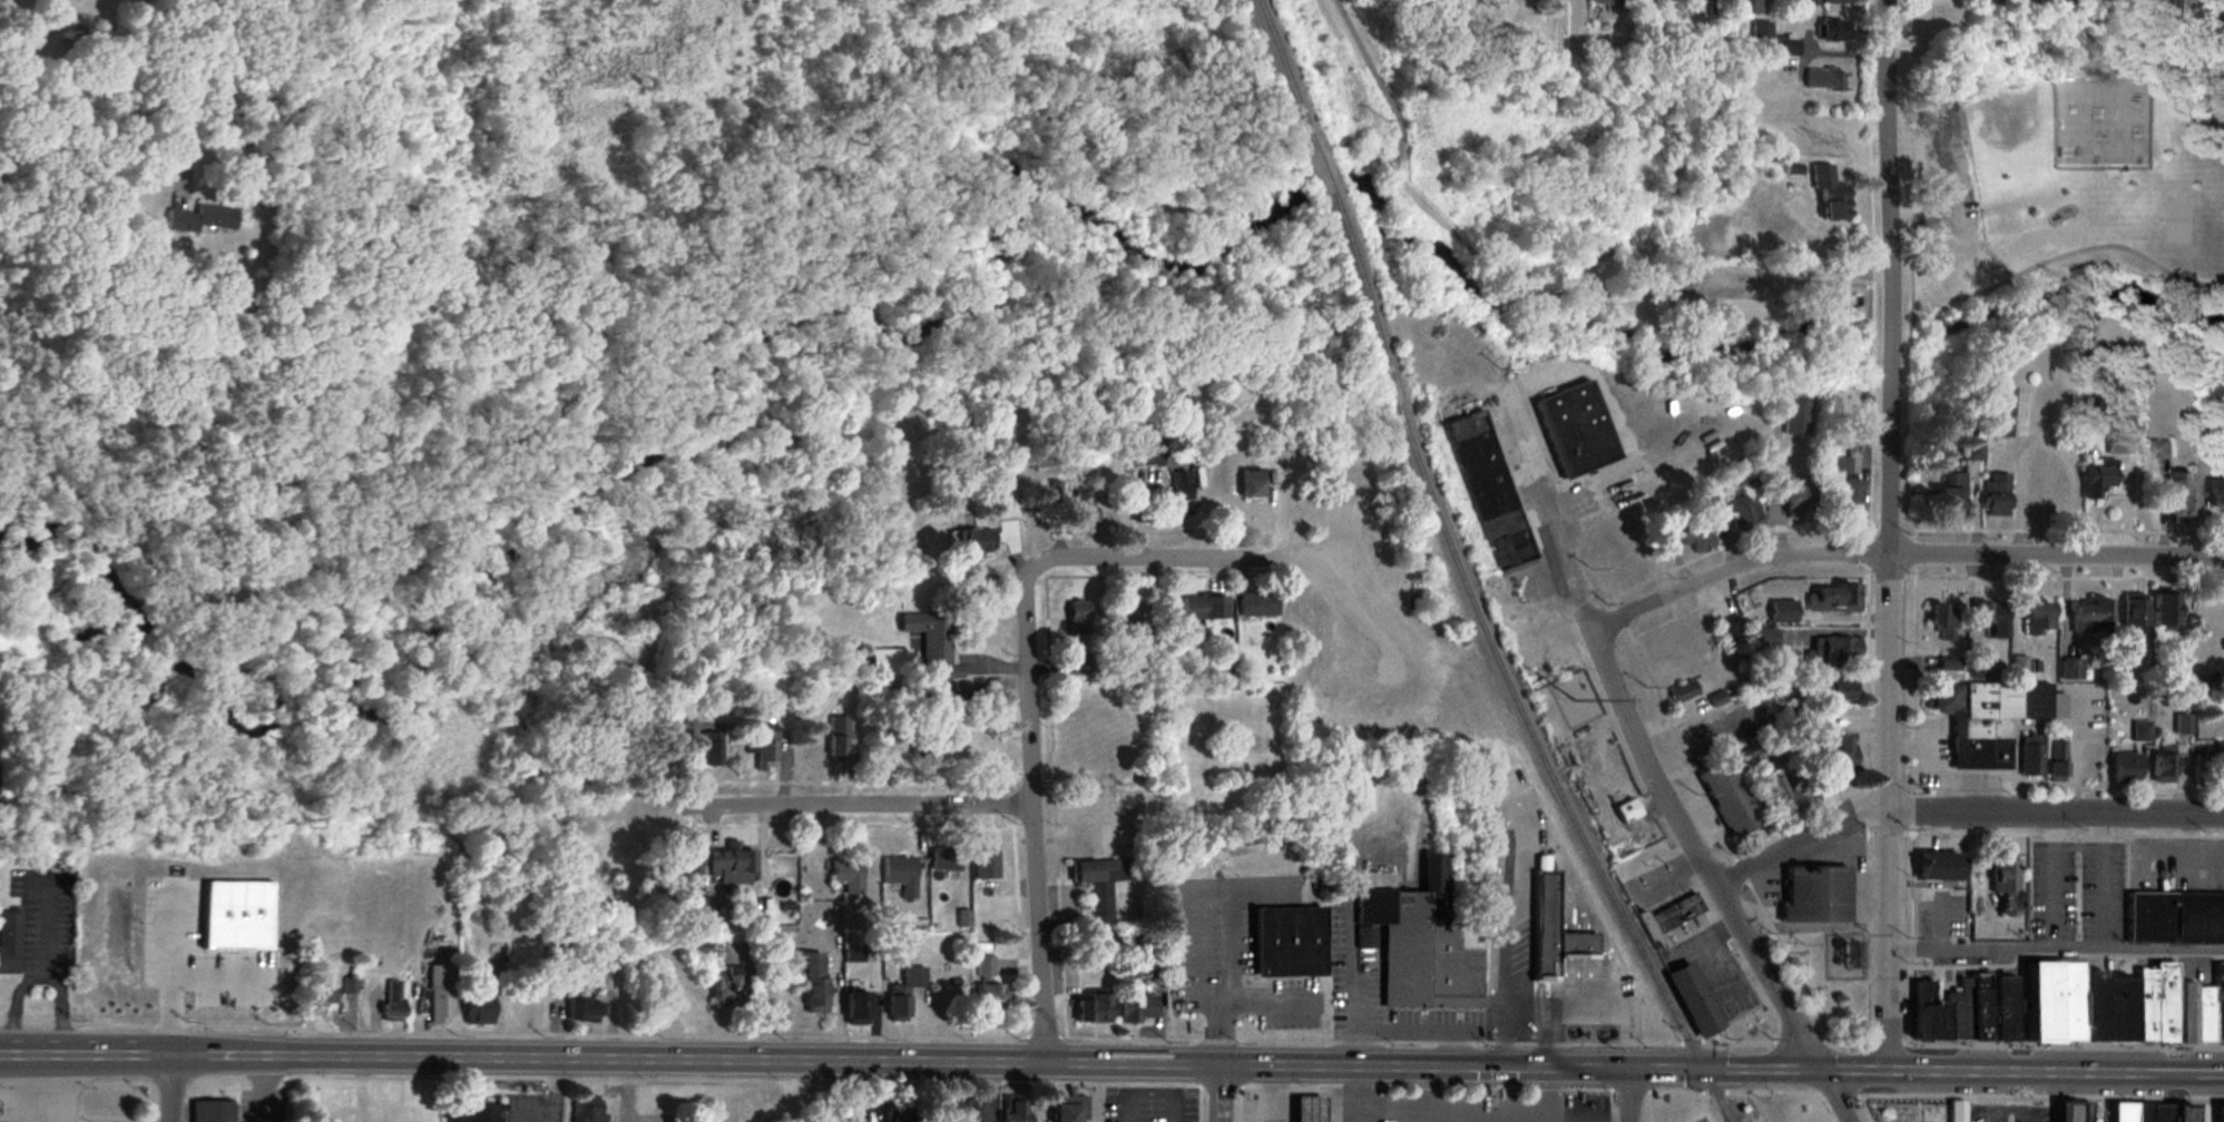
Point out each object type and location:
building: (1604, 2)
building: (1818, 2)
building: (1742, 7)
building: (1830, 30)
building: (1760, 31)
building: (1783, 46)
building: (1820, 79)
road: (206, 85)
road: (1358, 139)
park: (2055, 171)
building: (1824, 195)
building: (198, 218)
road: (2071, 253)
road: (1506, 283)
road: (1832, 283)
building: (234, 314)
road: (633, 391)
building: (1996, 412)
building: (1571, 430)
building: (2116, 443)
building: (2163, 450)
building: (1146, 454)
building: (2098, 478)
building: (1251, 482)
building: (1182, 484)
building: (1842, 488)
building: (1490, 491)
building: (2215, 493)
building: (1946, 494)
building: (1993, 494)
building: (2179, 498)
building: (1795, 499)
building: (1079, 509)
building: (1741, 515)
road: (1889, 535)
building: (1686, 538)
building: (976, 543)
road: (1167, 555)
road: (1899, 555)
railway: (1461, 574)
building: (1832, 599)
building: (1257, 604)
building: (1204, 608)
building: (1781, 612)
building: (2163, 612)
building: (1138, 614)
building: (2133, 614)
building: (2090, 617)
building: (1991, 618)
building: (2036, 618)
building: (1077, 619)
building: (1940, 620)
building: (928, 637)
building: (1764, 639)
building: (1832, 651)
building: (885, 662)
building: (1078, 662)
building: (2070, 668)
building: (1686, 690)
building: (1839, 690)
building: (1088, 693)
building: (951, 706)
building: (1983, 718)
building: (1818, 729)
building: (2139, 731)
building: (835, 738)
building: (1108, 738)
building: (923, 746)
building: (764, 747)
building: (711, 750)
building: (1756, 754)
building: (2029, 756)
building: (2218, 756)
building: (1836, 757)
building: (2054, 760)
building: (2161, 765)
building: (2123, 768)
road: (1663, 785)
building: (1356, 791)
building: (1727, 798)
building: (1786, 798)
road: (863, 803)
road: (1036, 809)
road: (1962, 809)
building: (1626, 810)
road: (2188, 838)
building: (944, 860)
building: (731, 862)
building: (986, 865)
building: (1936, 866)
road: (2157, 866)
building: (689, 869)
building: (848, 876)
building: (901, 876)
road: (2052, 878)
road: (2103, 878)
building: (2003, 882)
building: (1099, 884)
building: (1813, 895)
building: (692, 916)
building: (1675, 917)
building: (2174, 918)
road: (45, 926)
building: (1550, 929)
building: (582, 938)
building: (9, 941)
building: (1284, 943)
building: (552, 945)
building: (1419, 946)
road: (2058, 946)
building: (696, 948)
building: (984, 967)
building: (811, 983)
building: (729, 987)
building: (317, 993)
building: (902, 994)
building: (437, 995)
building: (988, 997)
building: (2217, 998)
building: (1692, 1000)
building: (391, 1001)
building: (2154, 1002)
building: (2090, 1004)
road: (13, 1005)
building: (476, 1008)
building: (854, 1008)
building: (1088, 1008)
building: (2117, 1008)
road: (61, 1010)
building: (1134, 1010)
building: (2186, 1010)
building: (584, 1011)
building: (1963, 1011)
building: (2203, 1012)
road: (115, 1054)
road: (1227, 1065)
road: (167, 1089)
road: (555, 1090)
road: (983, 1092)
road: (1094, 1093)
road: (1217, 1093)
road: (1419, 1093)
road: (1549, 1093)
road: (1629, 1093)
road: (1834, 1096)
building: (586, 1109)
building: (1066, 1109)
building: (1304, 1109)
park: (1900, 1110)
building: (2064, 1110)
building: (209, 1112)
building: (956, 1112)
building: (1011, 1112)
building: (1953, 1112)
building: (2120, 1112)
building: (2138, 1112)
building: (2157, 1112)
building: (2181, 1112)
building: (2205, 1112)
building: (2221, 1112)
building: (471, 1113)
road: (529, 1113)
road: (1485, 1113)
road: (1577, 1113)
road: (1617, 1114)
road: (1604, 1118)

